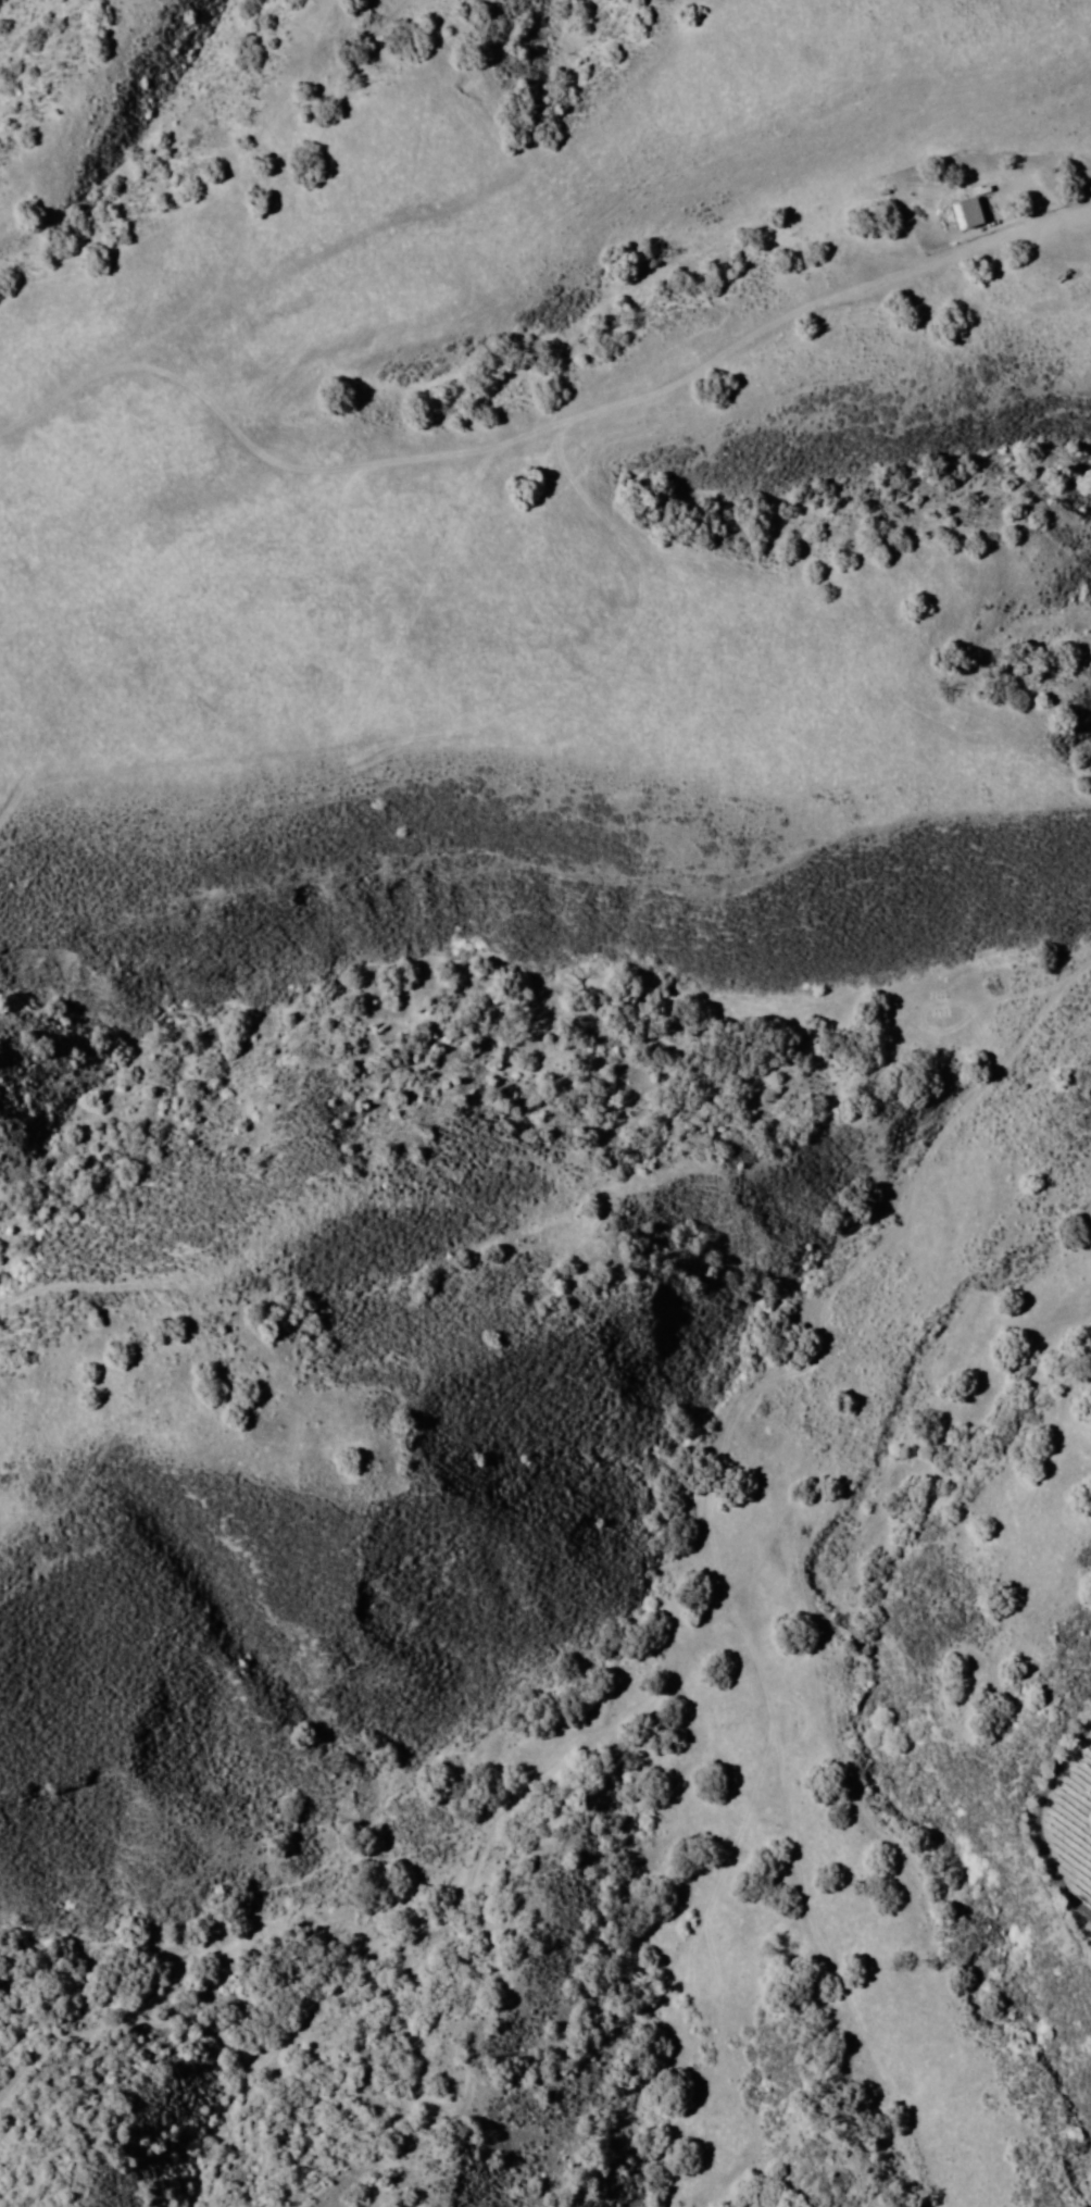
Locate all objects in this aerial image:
road: (560, 426)
road: (220, 681)
road: (68, 1300)
road: (534, 1768)
crop: (1074, 1797)

